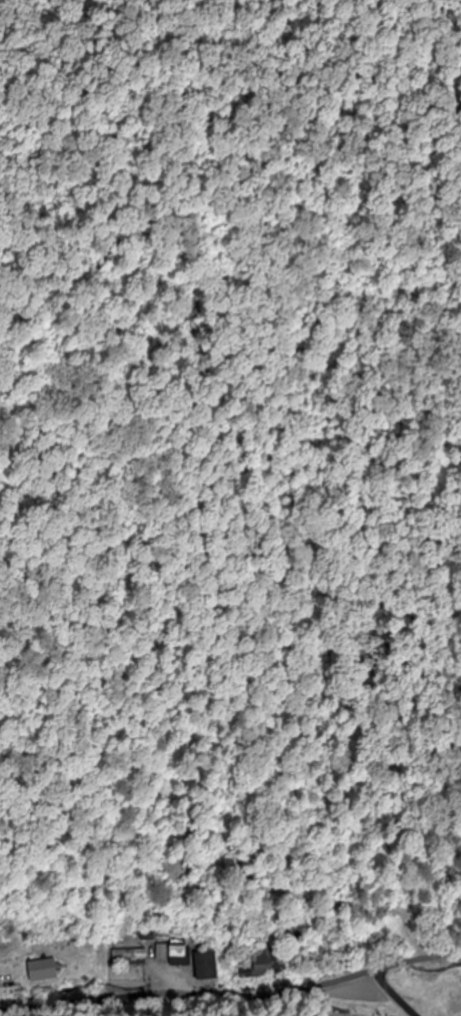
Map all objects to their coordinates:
building: (172, 953)
building: (129, 958)
building: (263, 963)
building: (205, 967)
building: (43, 971)
road: (232, 999)

